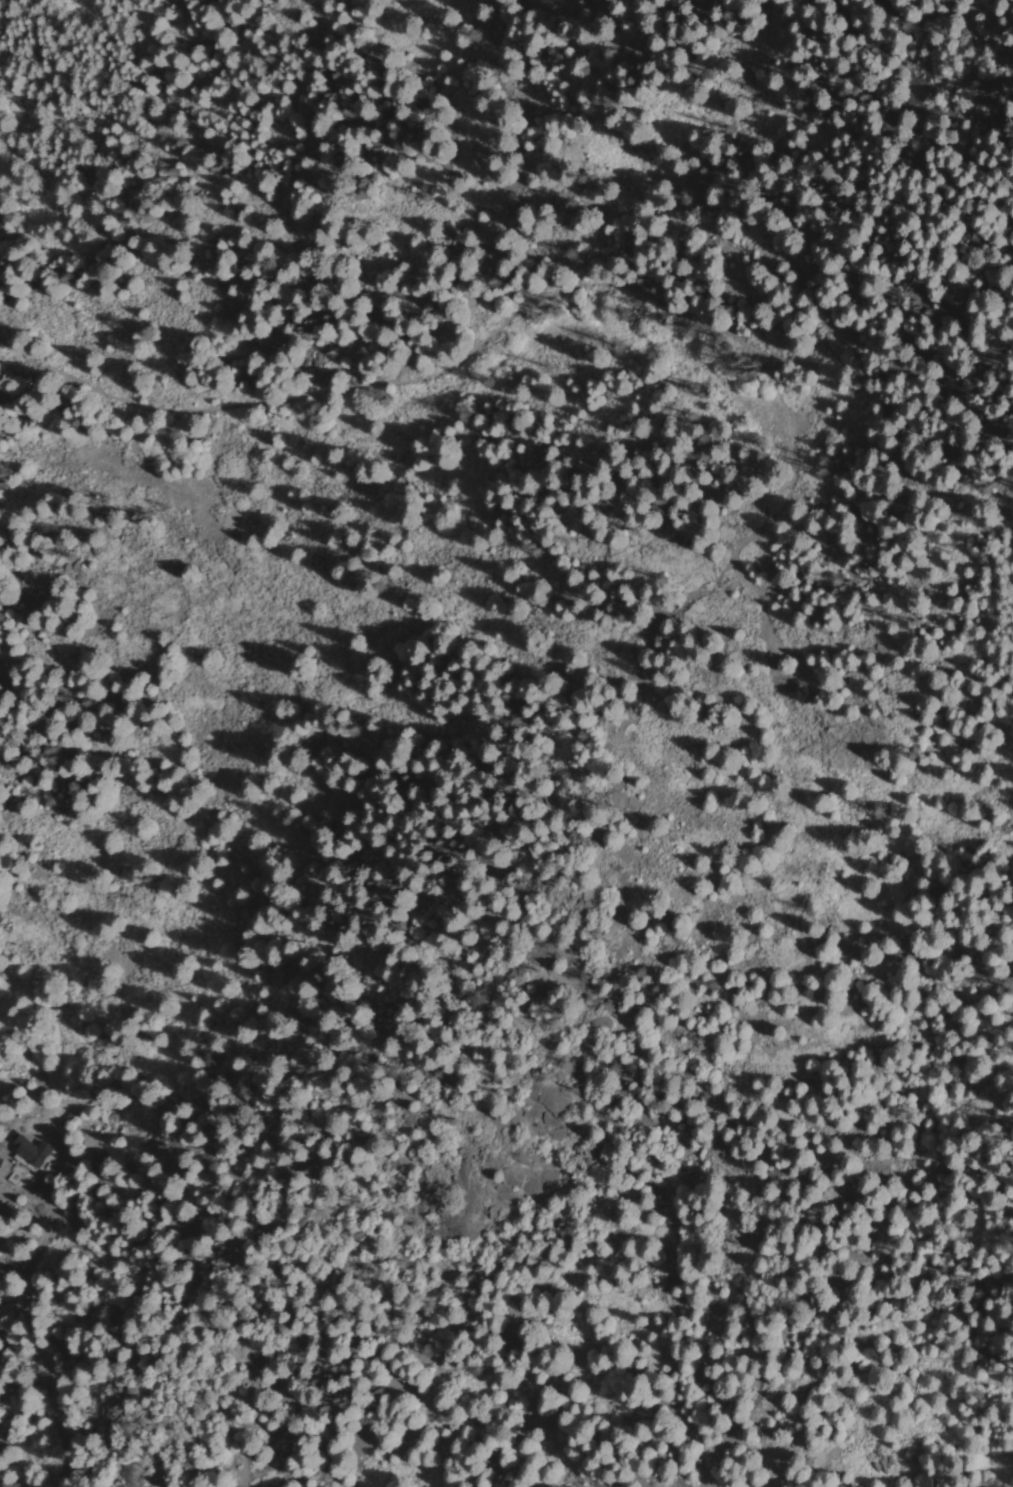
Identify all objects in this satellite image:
building: (463, 520)
building: (34, 1154)

